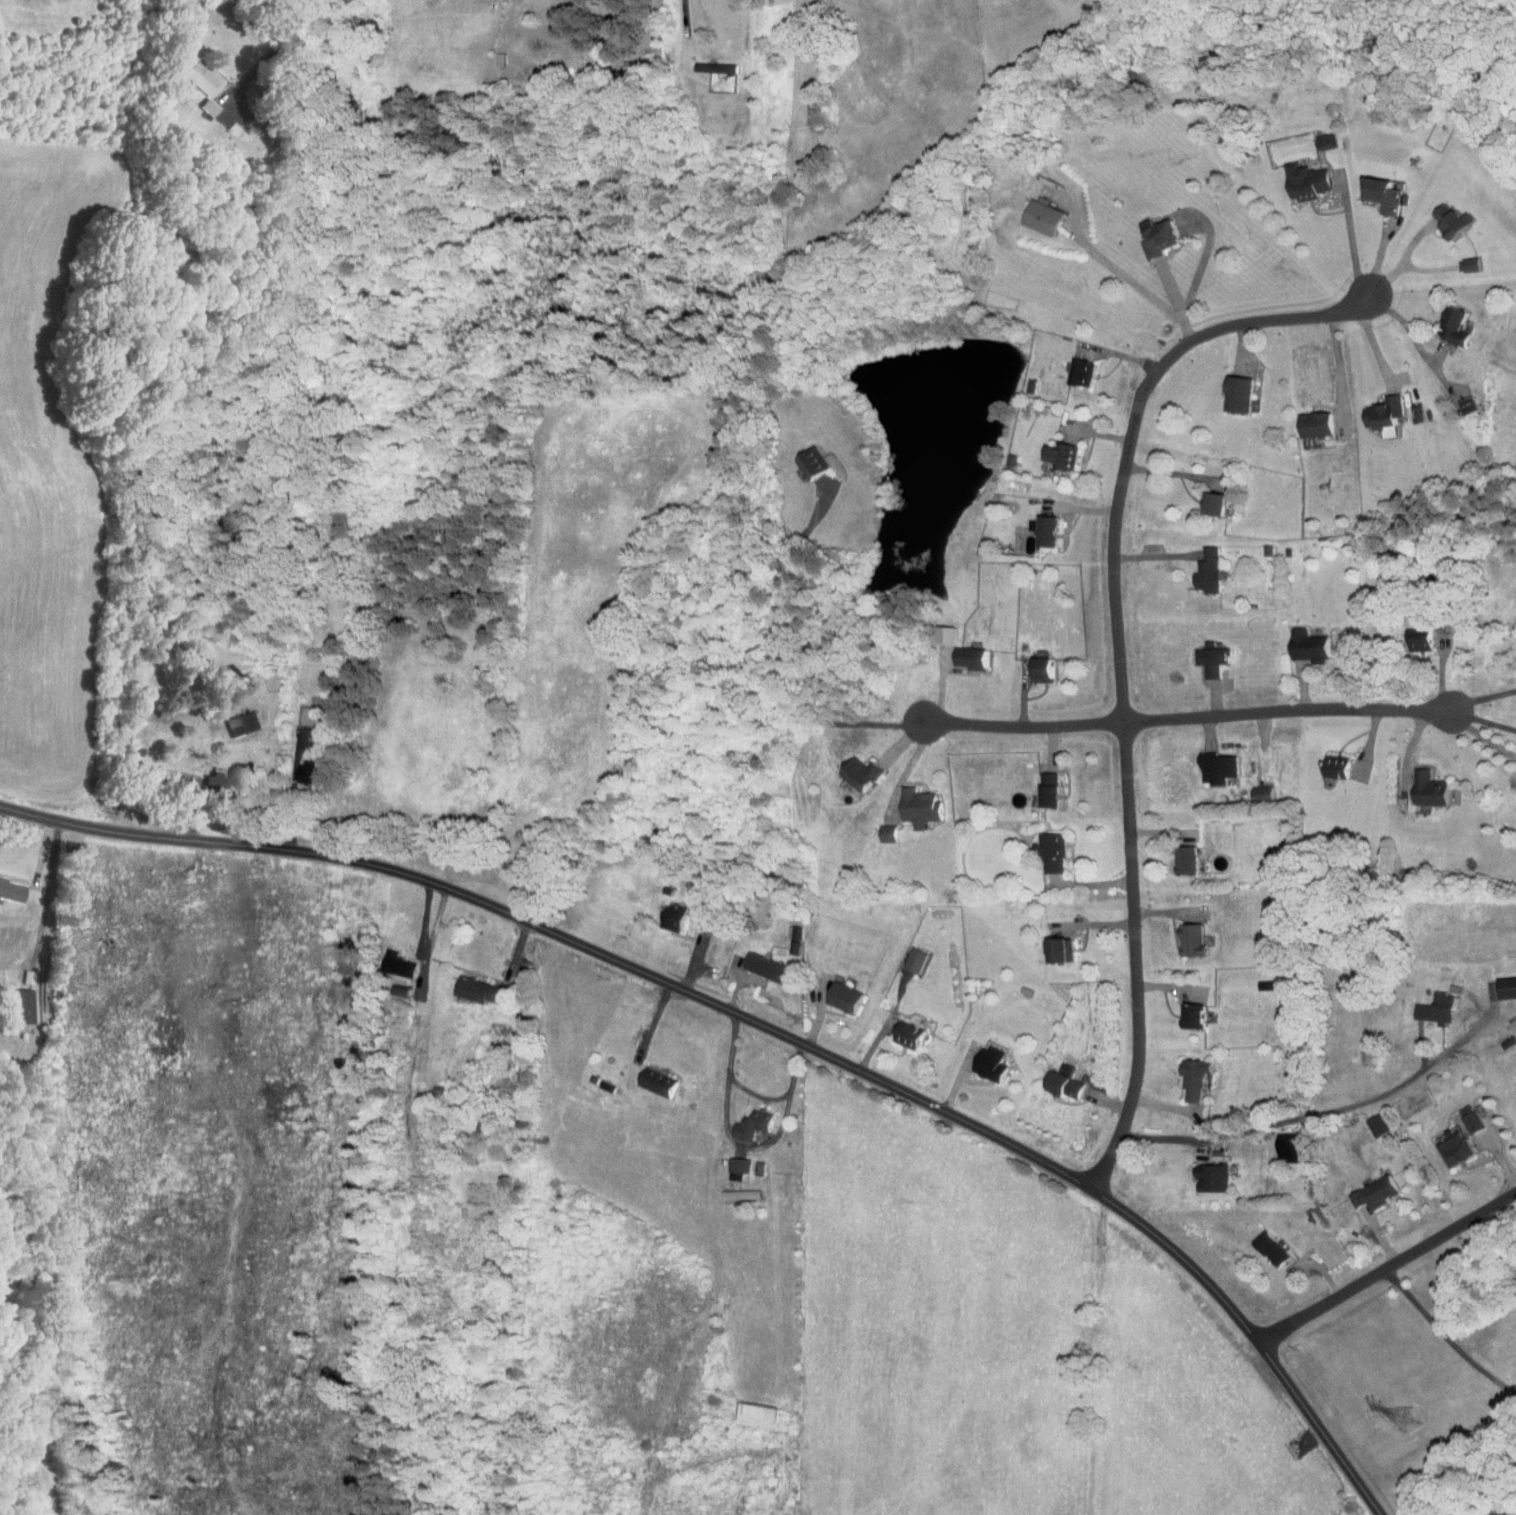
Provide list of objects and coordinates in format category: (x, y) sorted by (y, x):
road: (686, 7)
road: (274, 50)
building: (714, 66)
building: (540, 70)
building: (198, 77)
building: (206, 107)
building: (1304, 180)
building: (1379, 194)
building: (1039, 216)
building: (1449, 220)
building: (1155, 236)
road: (1205, 252)
road: (1375, 257)
road: (1403, 259)
building: (1468, 264)
road: (1111, 265)
road: (1369, 294)
road: (1178, 302)
building: (1451, 325)
road: (1372, 338)
road: (1152, 368)
road: (1338, 369)
building: (1078, 372)
building: (1235, 393)
building: (1465, 404)
building: (1416, 413)
building: (1382, 415)
building: (1313, 424)
road: (1104, 433)
building: (1059, 455)
building: (810, 461)
road: (1161, 471)
building: (1211, 503)
road: (1077, 507)
building: (1043, 530)
road: (1133, 556)
building: (942, 634)
building: (1418, 640)
building: (1306, 646)
road: (783, 649)
building: (966, 657)
road: (1145, 657)
building: (1210, 658)
road: (1117, 662)
building: (1039, 670)
road: (1402, 677)
road: (1441, 677)
road: (1479, 685)
road: (1304, 690)
road: (958, 691)
road: (941, 694)
road: (1044, 694)
road: (1287, 713)
building: (306, 716)
road: (1484, 719)
building: (240, 724)
road: (1010, 725)
road: (1419, 734)
road: (904, 737)
road: (1373, 737)
road: (1482, 737)
road: (912, 758)
building: (1334, 766)
building: (1215, 768)
road: (1104, 771)
building: (303, 772)
building: (858, 774)
road: (1155, 774)
building: (212, 784)
building: (1427, 788)
building: (1047, 790)
road: (290, 792)
road: (140, 807)
building: (916, 807)
road: (222, 811)
road: (1155, 832)
building: (885, 833)
road: (27, 853)
building: (1051, 853)
building: (1184, 860)
road: (1103, 885)
building: (10, 889)
road: (59, 901)
road: (386, 901)
road: (1159, 913)
building: (670, 918)
road: (1107, 924)
building: (1189, 940)
building: (1057, 950)
road: (687, 952)
road: (507, 955)
road: (687, 957)
building: (912, 960)
building: (395, 964)
building: (764, 968)
road: (762, 988)
road: (1160, 988)
building: (1505, 988)
building: (474, 990)
building: (841, 997)
building: (21, 1006)
building: (1434, 1009)
building: (1190, 1016)
road: (827, 1020)
road: (766, 1026)
building: (908, 1034)
building: (1507, 1042)
building: (988, 1066)
road: (410, 1070)
building: (1191, 1078)
building: (654, 1082)
building: (1063, 1083)
road: (983, 1092)
road: (749, 1093)
road: (1112, 1101)
road: (1156, 1101)
road: (1321, 1114)
building: (1469, 1118)
road: (1061, 1122)
building: (750, 1124)
building: (1375, 1126)
road: (393, 1137)
building: (1453, 1148)
building: (1285, 1153)
building: (737, 1165)
building: (1210, 1178)
building: (1373, 1191)
building: (738, 1195)
road: (1382, 1240)
road: (430, 1246)
building: (1268, 1247)
road: (1391, 1272)
road: (1450, 1337)
building: (753, 1414)
power tower: (1407, 1423)

